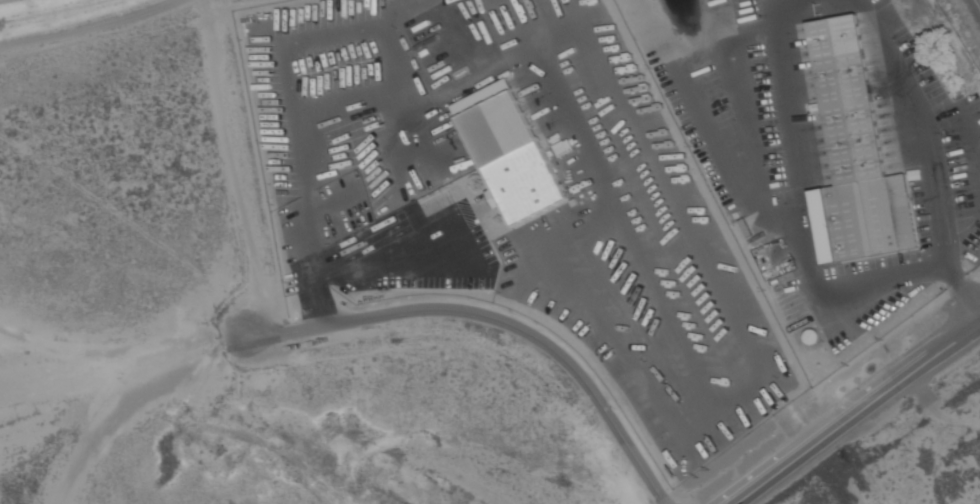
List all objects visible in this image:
road: (923, 126)
building: (858, 154)
building: (511, 157)
parking lot: (512, 194)
road: (801, 209)
road: (370, 269)
road: (962, 298)
road: (473, 316)
building: (810, 335)
storage tank: (810, 335)
road: (855, 410)

